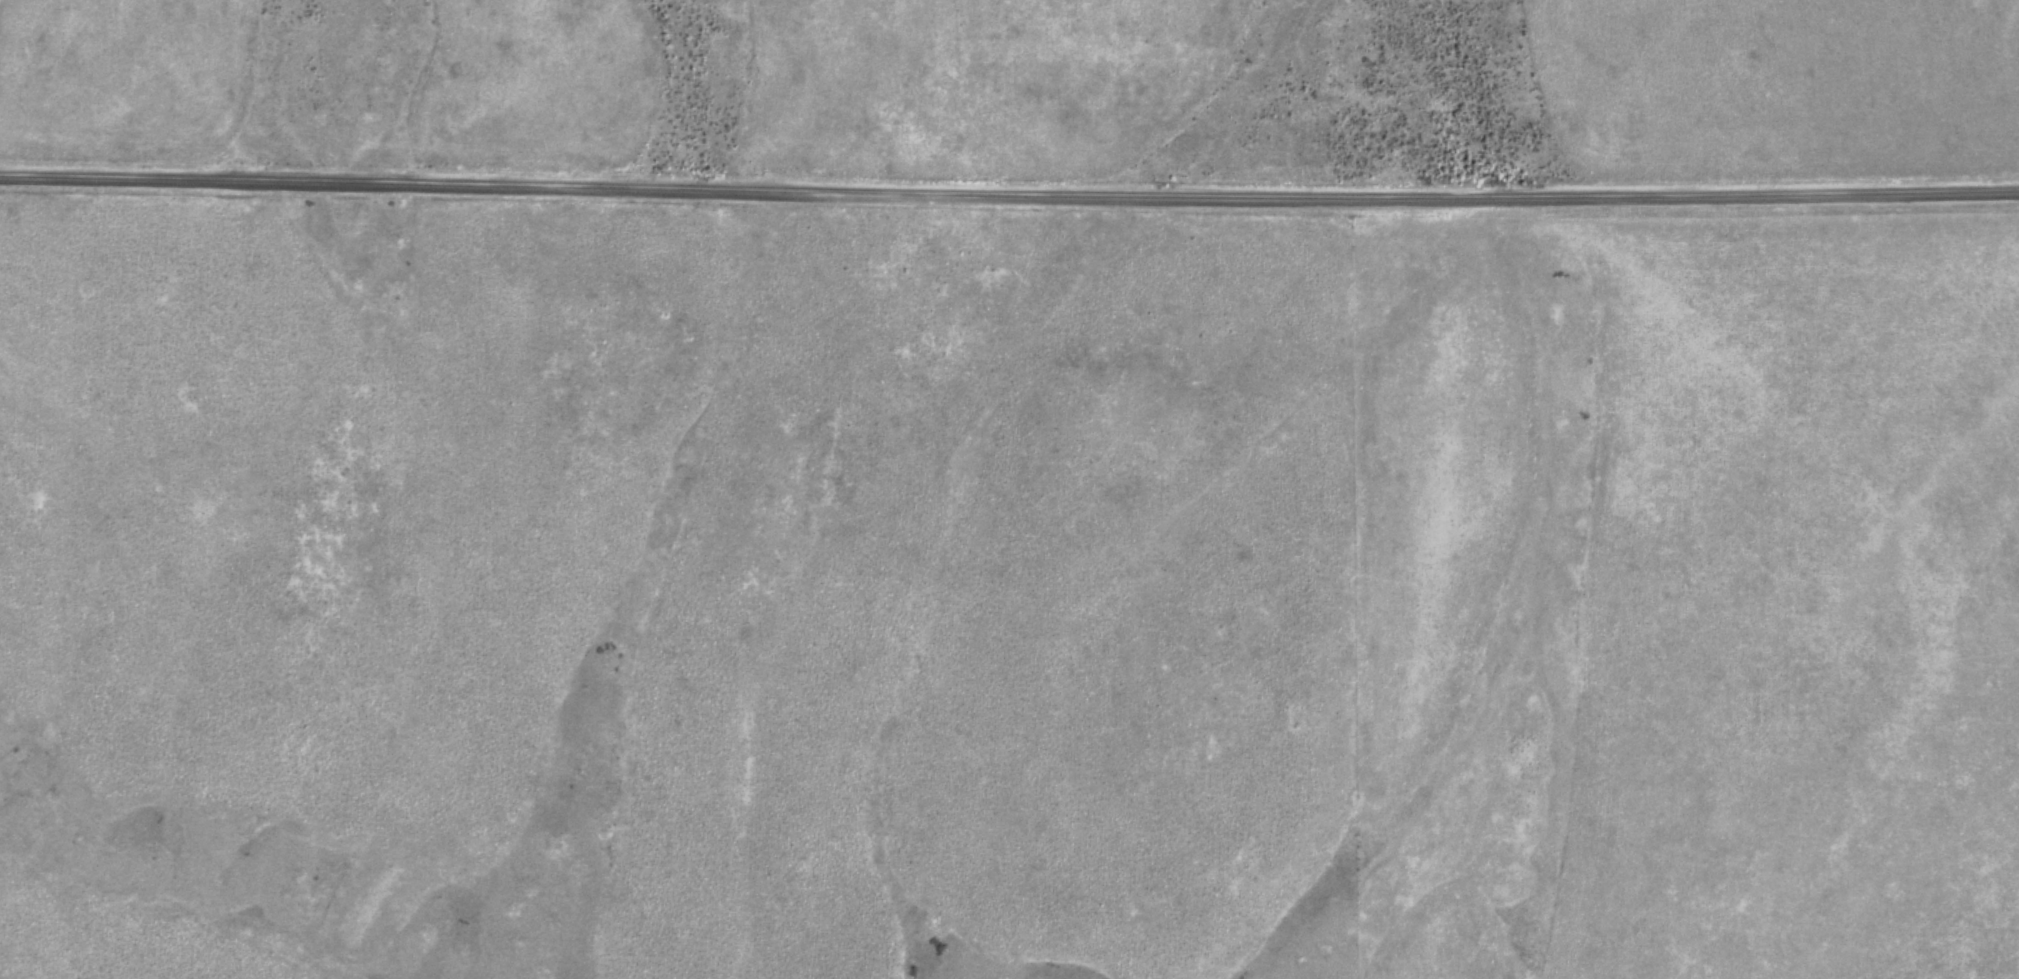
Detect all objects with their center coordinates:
road: (1009, 195)

